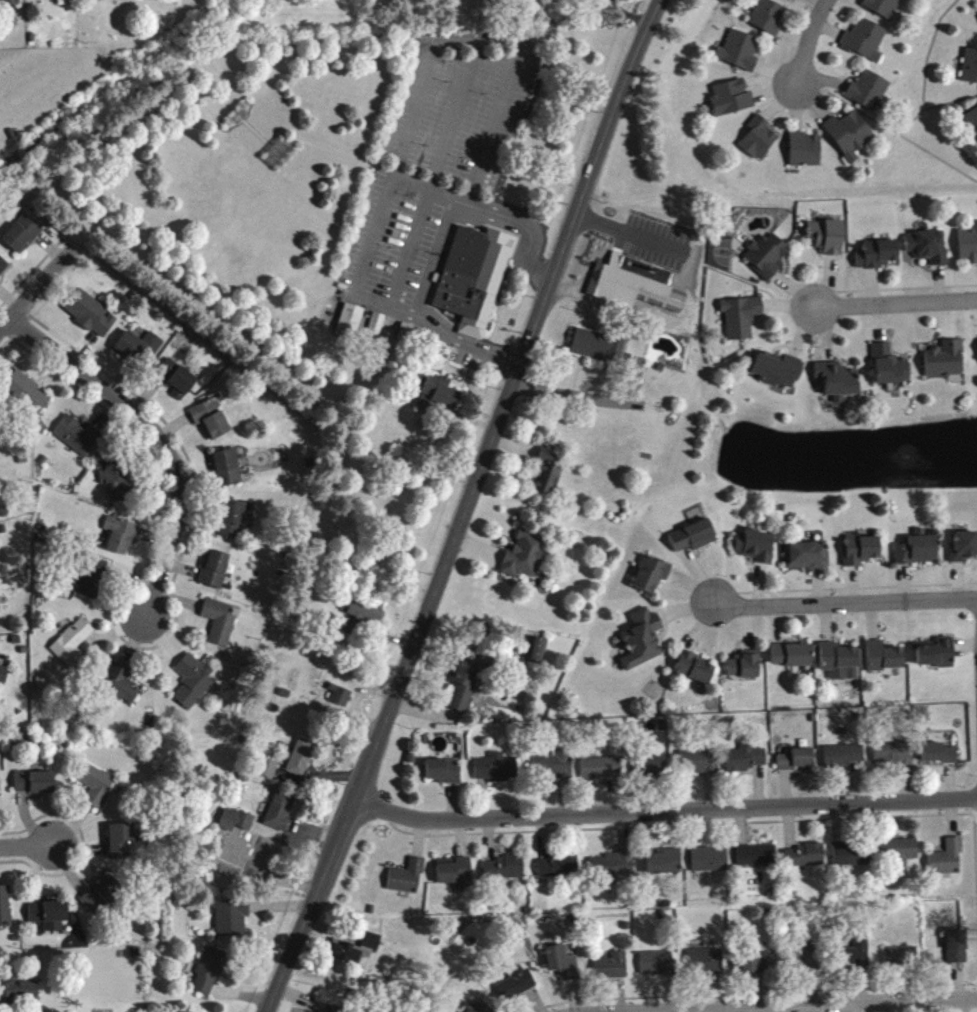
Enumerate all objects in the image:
building: (96, 0)
building: (50, 1)
building: (792, 1)
building: (11, 4)
building: (883, 9)
road: (629, 13)
building: (769, 22)
road: (806, 39)
building: (866, 45)
road: (927, 50)
building: (740, 56)
building: (970, 72)
road: (426, 73)
building: (869, 96)
building: (732, 103)
road: (932, 105)
building: (972, 125)
road: (888, 127)
building: (850, 140)
building: (759, 143)
building: (805, 155)
building: (22, 240)
building: (827, 242)
building: (968, 250)
building: (928, 252)
building: (767, 260)
building: (877, 260)
building: (3, 272)
building: (471, 274)
building: (635, 290)
road: (35, 293)
road: (896, 303)
building: (90, 318)
building: (741, 322)
building: (351, 326)
building: (377, 329)
building: (598, 351)
building: (140, 352)
building: (945, 365)
building: (890, 371)
building: (778, 375)
building: (178, 384)
building: (837, 385)
road: (586, 395)
building: (27, 398)
building: (440, 399)
building: (211, 424)
road: (160, 439)
building: (77, 441)
building: (227, 472)
building: (546, 479)
building: (119, 486)
road: (465, 507)
building: (235, 523)
building: (120, 540)
building: (694, 542)
building: (756, 551)
building: (964, 552)
building: (861, 556)
building: (524, 561)
building: (806, 561)
building: (215, 574)
building: (651, 580)
building: (92, 582)
road: (845, 601)
building: (0, 607)
building: (364, 613)
building: (220, 627)
building: (642, 645)
building: (73, 650)
building: (0, 655)
building: (537, 656)
building: (936, 658)
building: (792, 660)
building: (884, 662)
building: (839, 667)
building: (743, 671)
building: (694, 673)
building: (3, 682)
building: (193, 687)
building: (119, 689)
building: (464, 689)
building: (342, 702)
building: (894, 759)
building: (939, 759)
building: (843, 761)
building: (302, 763)
building: (747, 763)
building: (796, 764)
building: (696, 766)
building: (554, 771)
building: (654, 772)
building: (496, 773)
building: (601, 773)
building: (268, 774)
building: (444, 776)
building: (35, 788)
building: (96, 789)
road: (663, 811)
building: (281, 816)
building: (236, 826)
building: (121, 846)
road: (28, 848)
building: (898, 856)
building: (852, 860)
building: (757, 861)
building: (804, 861)
building: (947, 863)
building: (260, 865)
building: (710, 865)
building: (664, 867)
building: (613, 870)
building: (559, 871)
building: (503, 873)
building: (454, 876)
building: (407, 883)
building: (100, 903)
building: (5, 912)
building: (50, 920)
building: (232, 923)
building: (956, 952)
building: (356, 954)
building: (855, 961)
building: (901, 962)
building: (805, 964)
building: (705, 967)
building: (563, 968)
building: (657, 969)
building: (754, 969)
building: (612, 972)
building: (209, 977)
building: (516, 989)
building: (19, 996)
road: (854, 1005)
building: (481, 1009)
building: (334, 1011)

